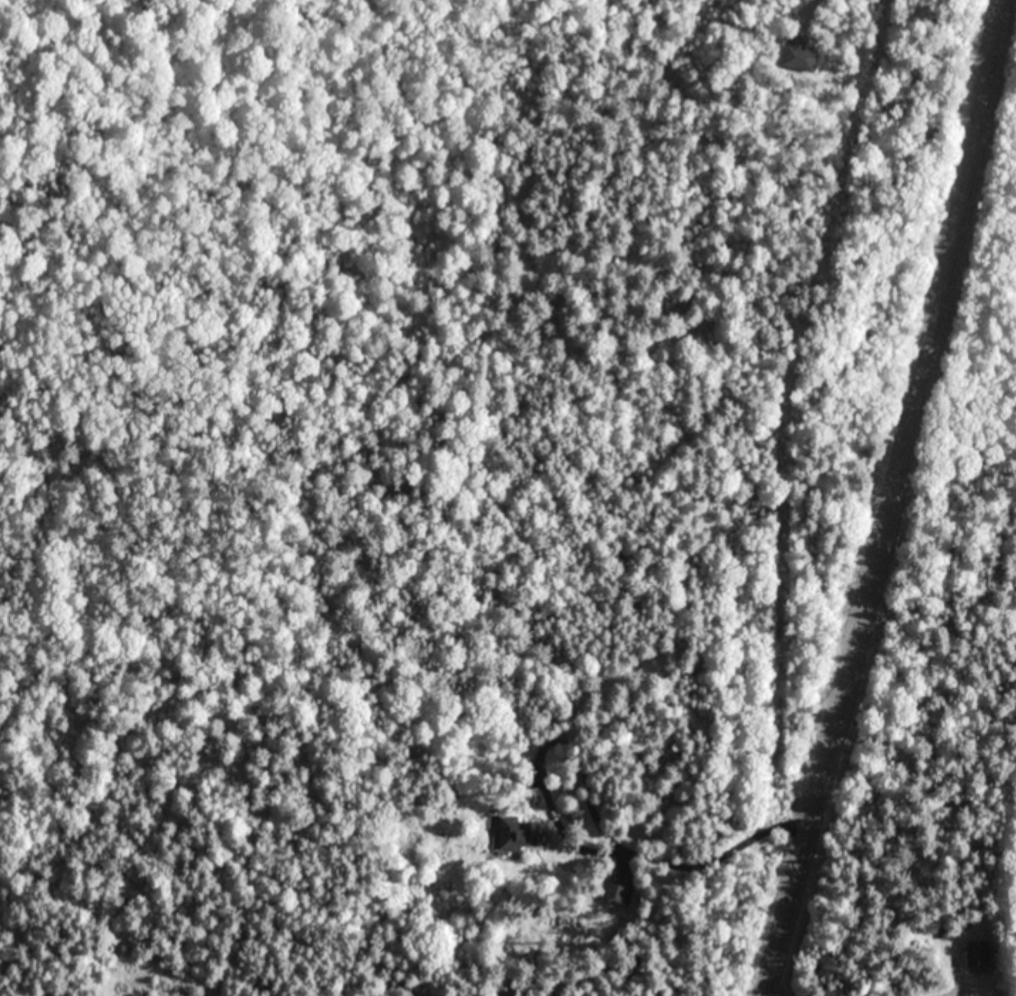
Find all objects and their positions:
road: (810, 6)
building: (800, 53)
road: (891, 500)
building: (521, 832)
road: (654, 864)
building: (615, 891)
building: (978, 953)

